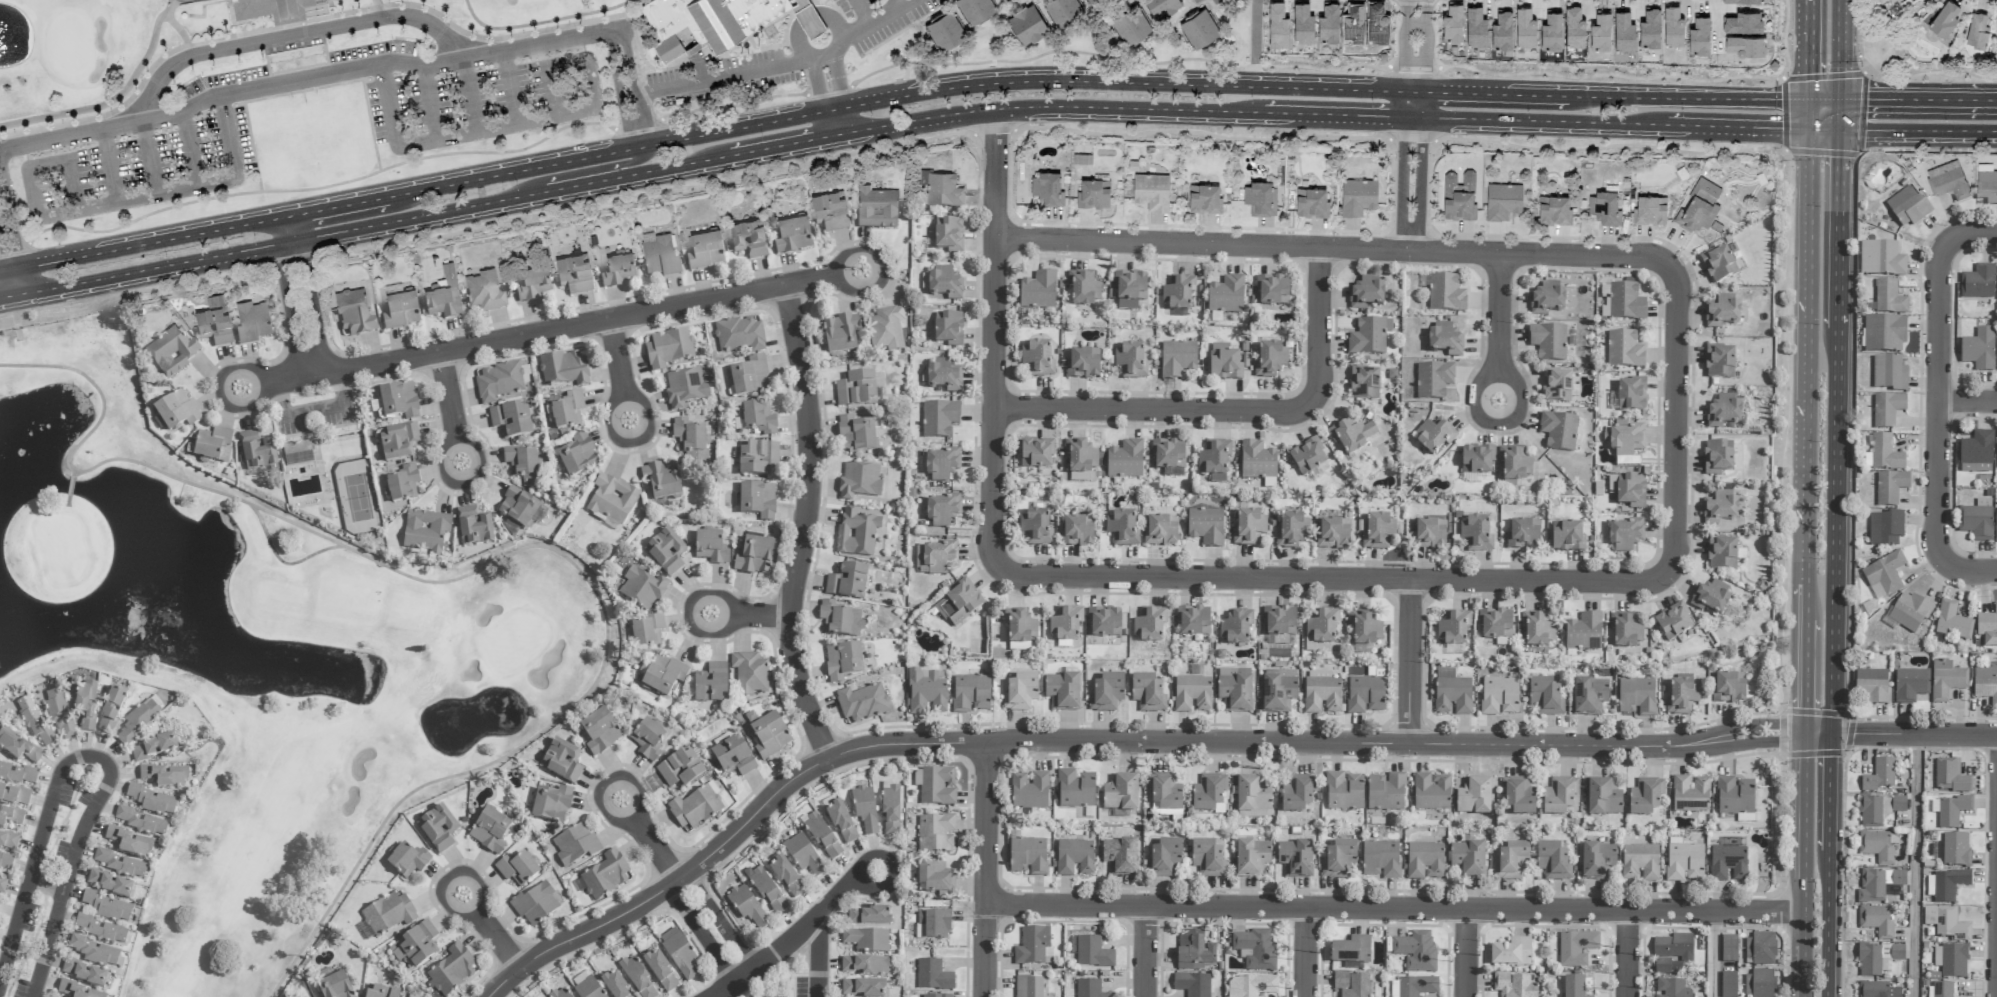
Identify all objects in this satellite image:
road: (177, 1)
building: (1088, 1)
building: (1742, 1)
road: (900, 2)
road: (169, 6)
building: (1161, 7)
road: (203, 9)
building: (974, 9)
building: (1061, 9)
building: (266, 10)
road: (861, 12)
building: (182, 15)
building: (743, 18)
building: (1944, 19)
road: (540, 22)
building: (1742, 22)
building: (1302, 23)
building: (1328, 23)
building: (1452, 23)
building: (1026, 24)
building: (1130, 25)
building: (1277, 26)
building: (1672, 26)
building: (1475, 27)
building: (1524, 27)
building: (1574, 27)
road: (176, 28)
building: (671, 28)
building: (1198, 28)
building: (1649, 28)
road: (858, 30)
building: (1501, 30)
building: (1976, 30)
building: (944, 31)
building: (1550, 31)
building: (1623, 31)
building: (1600, 32)
road: (292, 34)
road: (797, 34)
building: (1699, 35)
road: (615, 38)
building: (1996, 40)
road: (1253, 43)
building: (1745, 45)
road: (1416, 46)
road: (1808, 50)
road: (1840, 50)
road: (307, 78)
road: (722, 78)
road: (836, 83)
road: (508, 87)
road: (817, 88)
park: (282, 89)
road: (468, 94)
road: (1488, 94)
road: (895, 98)
road: (1683, 98)
traffic signals: (1808, 101)
road: (1824, 101)
road: (108, 102)
road: (428, 102)
traffic signals: (1840, 102)
road: (1918, 103)
road: (1416, 105)
road: (1251, 112)
road: (1807, 115)
road: (1839, 116)
road: (528, 122)
road: (835, 123)
road: (1737, 127)
traffic signals: (1807, 129)
road: (1823, 129)
traffic signals: (1839, 130)
road: (1918, 131)
road: (634, 134)
road: (785, 146)
road: (188, 149)
road: (149, 157)
building: (1082, 158)
road: (594, 168)
road: (1401, 182)
road: (1422, 183)
road: (31, 184)
building: (1949, 184)
building: (1986, 184)
road: (181, 188)
building: (1046, 189)
building: (941, 190)
building: (1151, 191)
building: (1093, 193)
building: (1357, 196)
building: (1459, 196)
road: (510, 197)
building: (1204, 198)
building: (1258, 198)
building: (1502, 201)
building: (1310, 202)
building: (1698, 206)
building: (1908, 207)
road: (334, 208)
building: (876, 208)
building: (1604, 208)
building: (1553, 210)
building: (1649, 210)
building: (829, 211)
road: (1806, 216)
road: (11, 218)
road: (1838, 229)
road: (287, 230)
building: (792, 234)
road: (1977, 235)
building: (949, 236)
building: (747, 239)
road: (149, 244)
road: (1333, 249)
building: (704, 250)
road: (857, 253)
road: (4, 254)
building: (659, 257)
building: (1881, 260)
building: (1719, 265)
road: (154, 269)
building: (617, 270)
road: (6, 271)
building: (573, 274)
road: (15, 282)
building: (532, 283)
building: (1978, 283)
road: (864, 288)
building: (1083, 289)
building: (1130, 290)
building: (1038, 291)
building: (1273, 291)
building: (484, 292)
building: (1179, 293)
building: (1366, 293)
building: (444, 295)
building: (1226, 295)
building: (1446, 295)
road: (9, 296)
building: (1546, 298)
building: (1889, 298)
building: (1626, 303)
road: (313, 305)
building: (400, 309)
road: (287, 310)
building: (1722, 311)
building: (354, 313)
road: (1501, 319)
road: (590, 321)
building: (252, 322)
building: (213, 326)
building: (885, 329)
building: (948, 329)
road: (994, 331)
road: (1321, 332)
building: (840, 334)
building: (1884, 334)
building: (739, 335)
building: (1369, 337)
building: (1445, 340)
building: (1548, 342)
building: (670, 349)
building: (1624, 350)
building: (1979, 350)
building: (172, 351)
road: (619, 359)
building: (1177, 359)
building: (1037, 360)
building: (1131, 361)
building: (1271, 361)
building: (1719, 362)
building: (1225, 364)
building: (1083, 365)
building: (564, 369)
building: (1889, 373)
building: (944, 376)
road: (308, 377)
building: (749, 377)
building: (501, 381)
building: (1433, 381)
road: (269, 383)
building: (1364, 384)
building: (1556, 386)
road: (342, 388)
building: (685, 388)
building: (856, 389)
road: (224, 391)
building: (1631, 395)
road: (449, 397)
road: (1941, 398)
building: (399, 401)
road: (1481, 401)
road: (1516, 402)
road: (1969, 403)
building: (1887, 410)
building: (567, 411)
building: (1723, 411)
building: (175, 412)
road: (297, 412)
road: (1150, 412)
road: (648, 417)
building: (759, 418)
building: (939, 419)
road: (1674, 419)
building: (511, 421)
road: (611, 424)
building: (1559, 431)
building: (856, 435)
building: (1351, 436)
building: (1434, 436)
building: (1626, 441)
building: (397, 442)
building: (690, 442)
road: (1805, 444)
building: (1996, 445)
building: (211, 446)
building: (257, 451)
building: (1976, 453)
building: (297, 454)
building: (1036, 454)
building: (1885, 454)
building: (1169, 455)
building: (577, 456)
building: (1081, 457)
building: (1307, 457)
road: (481, 458)
building: (757, 458)
building: (1214, 458)
building: (1718, 458)
building: (1125, 460)
building: (1477, 460)
building: (1257, 461)
building: (941, 464)
building: (1515, 464)
road: (443, 466)
road: (72, 473)
building: (662, 481)
building: (859, 481)
road: (70, 486)
building: (1890, 487)
building: (1628, 491)
building: (611, 500)
road: (68, 501)
building: (757, 501)
building: (1719, 508)
building: (519, 511)
building: (943, 511)
building: (1976, 520)
road: (807, 522)
building: (1996, 525)
building: (1206, 526)
building: (474, 527)
building: (1036, 528)
building: (1885, 528)
building: (1122, 529)
building: (1249, 529)
road: (1834, 530)
building: (1293, 531)
building: (426, 532)
building: (1077, 532)
building: (1161, 532)
building: (1379, 532)
building: (856, 533)
building: (1430, 533)
building: (1476, 534)
building: (1334, 535)
building: (1524, 535)
building: (1625, 535)
building: (1567, 537)
building: (710, 548)
building: (665, 552)
building: (1722, 554)
road: (508, 555)
building: (939, 557)
road: (279, 560)
road: (1970, 572)
building: (1885, 574)
road: (1324, 577)
building: (847, 582)
building: (642, 589)
road: (711, 595)
building: (1711, 597)
building: (963, 602)
building: (1909, 612)
road: (761, 616)
building: (840, 620)
building: (1194, 622)
building: (1673, 622)
building: (1952, 622)
building: (1105, 623)
building: (1066, 624)
building: (1149, 625)
building: (1495, 625)
building: (1020, 626)
building: (1323, 626)
building: (1988, 627)
building: (1235, 628)
building: (1453, 628)
building: (1625, 630)
road: (710, 631)
building: (1536, 631)
building: (646, 632)
building: (1365, 632)
building: (1584, 633)
park: (263, 655)
road: (1407, 659)
road: (1805, 659)
building: (842, 662)
building: (749, 673)
building: (664, 675)
building: (1946, 680)
building: (710, 684)
building: (1911, 685)
building: (1986, 685)
building: (1872, 686)
building: (1729, 688)
building: (1235, 689)
building: (1278, 691)
building: (926, 692)
building: (1020, 692)
building: (1062, 692)
building: (1452, 692)
building: (1107, 693)
building: (1148, 693)
building: (1322, 693)
building: (971, 694)
building: (1192, 694)
building: (1365, 695)
building: (1499, 696)
building: (1589, 696)
building: (1682, 696)
building: (1545, 697)
building: (1637, 697)
building: (862, 703)
building: (85, 704)
building: (111, 710)
building: (58, 713)
building: (33, 721)
building: (138, 721)
road: (1739, 726)
building: (600, 732)
traffic signals: (1805, 732)
road: (1818, 732)
traffic signals: (1832, 732)
road: (1914, 733)
building: (769, 735)
building: (648, 740)
road: (1251, 742)
road: (1741, 744)
building: (18, 747)
building: (153, 748)
road: (97, 757)
building: (732, 757)
building: (562, 762)
building: (680, 769)
building: (16, 774)
building: (165, 776)
building: (1879, 776)
building: (1951, 777)
building: (937, 787)
road: (635, 788)
building: (1076, 789)
building: (1029, 791)
building: (1344, 791)
building: (1165, 792)
building: (1386, 792)
building: (1431, 792)
road: (1830, 792)
building: (1121, 793)
building: (1209, 793)
building: (1297, 794)
building: (1690, 794)
building: (1252, 795)
building: (14, 796)
building: (1518, 796)
building: (1559, 796)
building: (1645, 796)
building: (1735, 796)
building: (1474, 797)
building: (1603, 799)
building: (152, 800)
building: (551, 804)
building: (1898, 804)
building: (864, 809)
building: (890, 809)
road: (606, 810)
building: (1951, 811)
building: (1870, 812)
building: (10, 816)
building: (142, 822)
building: (841, 823)
road: (1805, 823)
building: (438, 830)
building: (490, 831)
building: (936, 833)
building: (822, 838)
building: (8, 842)
building: (130, 843)
building: (575, 846)
building: (1877, 848)
building: (1956, 850)
building: (803, 855)
building: (1028, 856)
building: (1074, 857)
building: (1120, 857)
building: (1252, 858)
building: (1164, 859)
building: (1208, 859)
building: (1295, 859)
building: (1340, 860)
building: (1380, 860)
building: (1468, 860)
building: (408, 861)
building: (1425, 861)
building: (1597, 861)
building: (1512, 862)
building: (1553, 862)
building: (1684, 862)
building: (6, 863)
building: (1640, 863)
building: (1728, 863)
building: (120, 865)
road: (1915, 865)
building: (517, 869)
road: (989, 870)
building: (606, 875)
building: (787, 878)
building: (936, 878)
building: (109, 884)
road: (479, 884)
building: (1877, 885)
building: (1949, 885)
road: (44, 887)
building: (2, 888)
road: (670, 890)
building: (766, 891)
road: (690, 895)
building: (535, 905)
road: (449, 906)
building: (108, 907)
building: (747, 907)
building: (393, 911)
road: (1396, 911)
building: (868, 917)
building: (1876, 922)
road: (1827, 924)
building: (1946, 924)
building: (932, 925)
building: (102, 930)
road: (811, 930)
road: (498, 939)
building: (866, 940)
building: (415, 945)
building: (1033, 947)
building: (1674, 947)
building: (1576, 949)
building: (1729, 949)
building: (1760, 949)
building: (1255, 950)
building: (1351, 950)
building: (1195, 951)
building: (1416, 951)
building: (95, 952)
road: (1146, 952)
building: (1093, 953)
road: (1306, 953)
building: (1511, 953)
building: (679, 954)
road: (1469, 954)
road: (1627, 955)
road: (1716, 955)
road: (1803, 955)
building: (1878, 959)
road: (819, 960)
building: (1954, 961)
building: (865, 965)
building: (1662, 966)
building: (452, 970)
building: (660, 972)
building: (84, 973)
building: (933, 976)
building: (637, 978)
building: (1192, 984)
building: (1352, 984)
building: (1760, 984)
building: (615, 985)
building: (334, 986)
building: (1252, 986)
building: (1514, 986)
building: (1029, 987)
building: (1417, 987)
building: (1574, 987)
building: (862, 988)
building: (588, 989)
building: (1090, 989)
building: (1394, 989)
building: (1672, 989)
building: (1942, 989)
building: (1878, 990)
building: (77, 991)
building: (380, 992)
building: (557, 993)
building: (938, 996)

